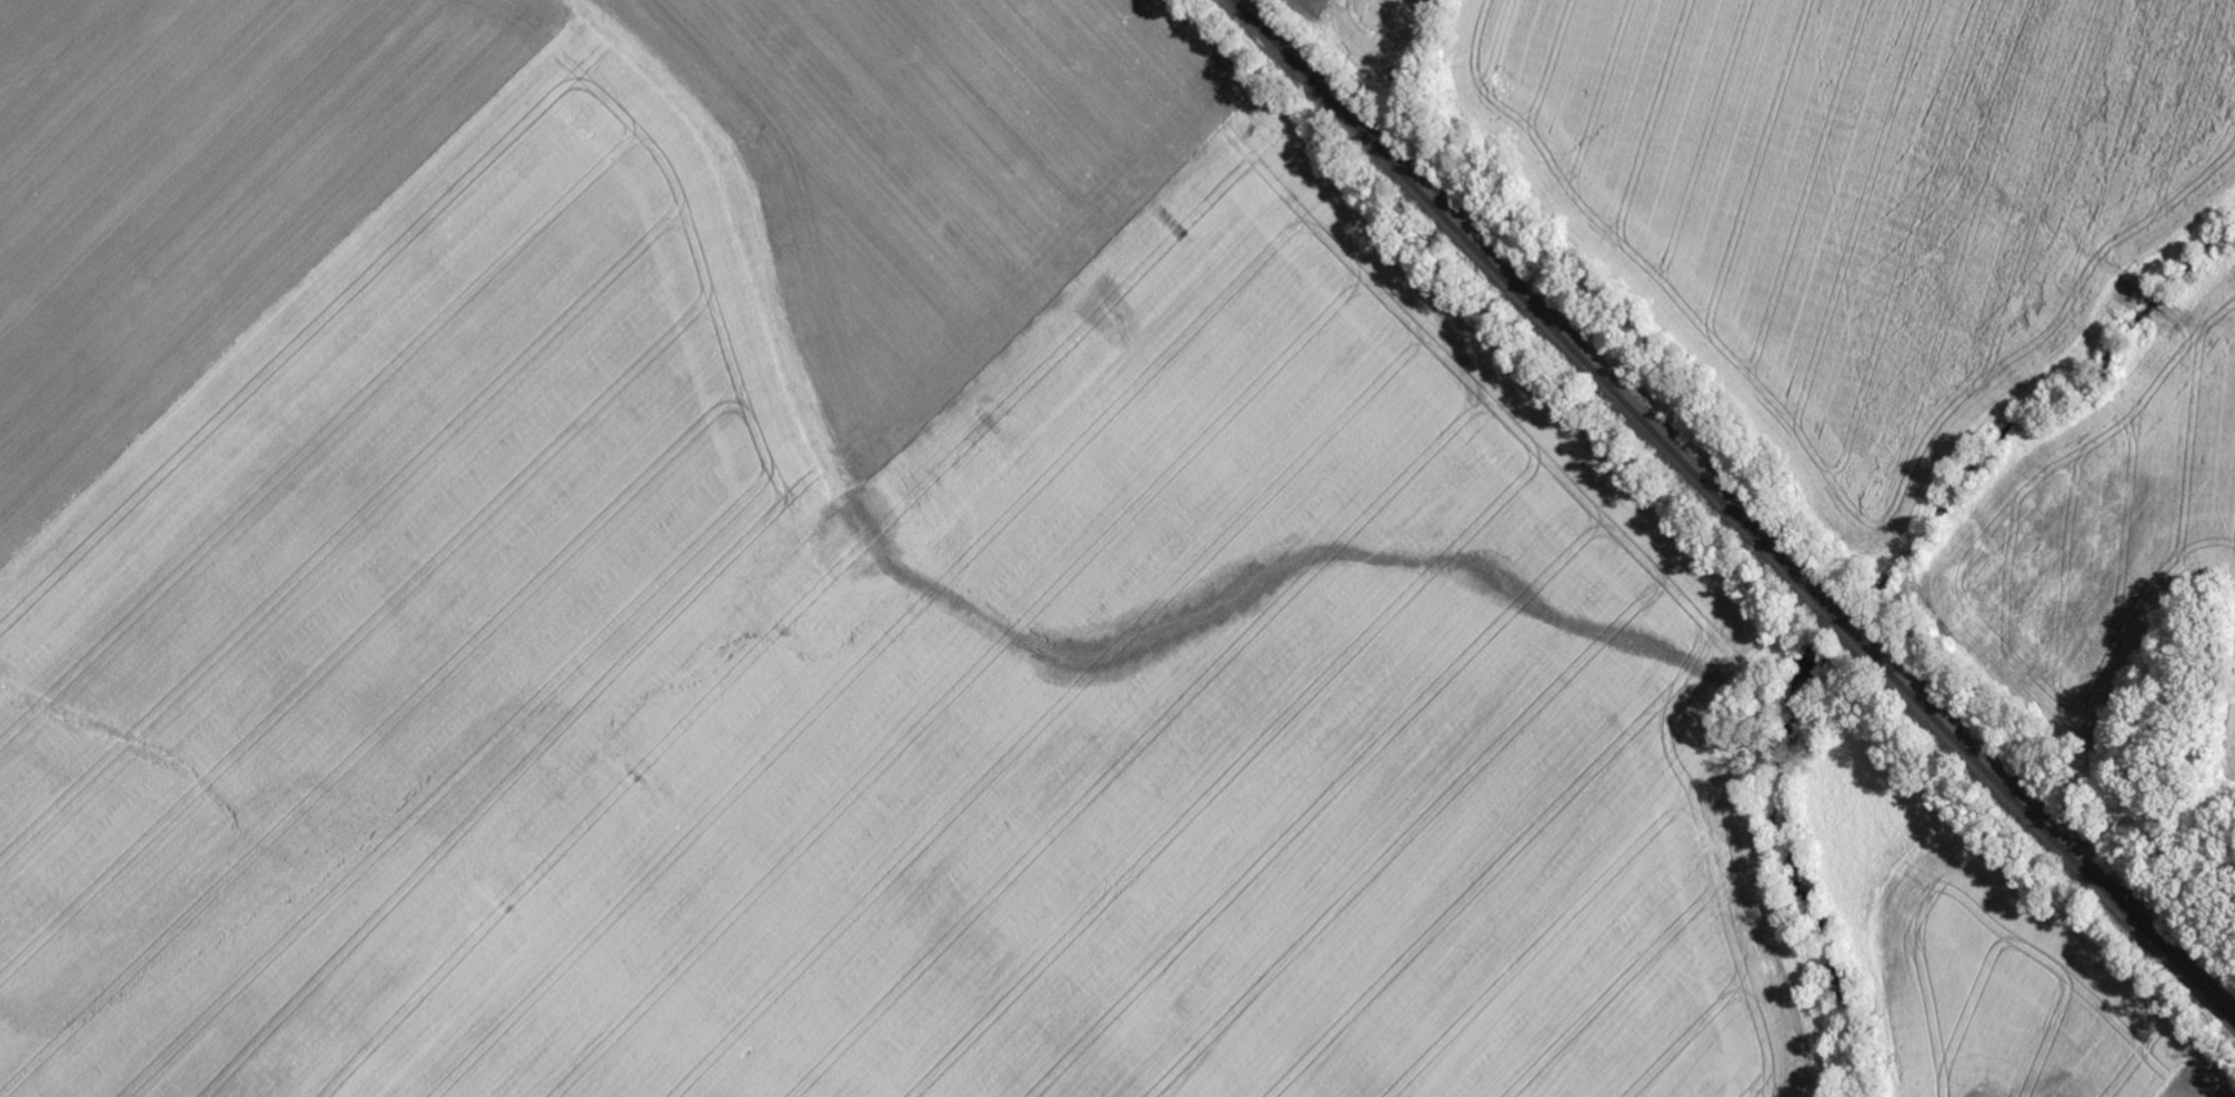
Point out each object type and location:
river: (2036, 410)
railway: (1737, 507)
river: (1832, 640)
river: (1796, 890)

